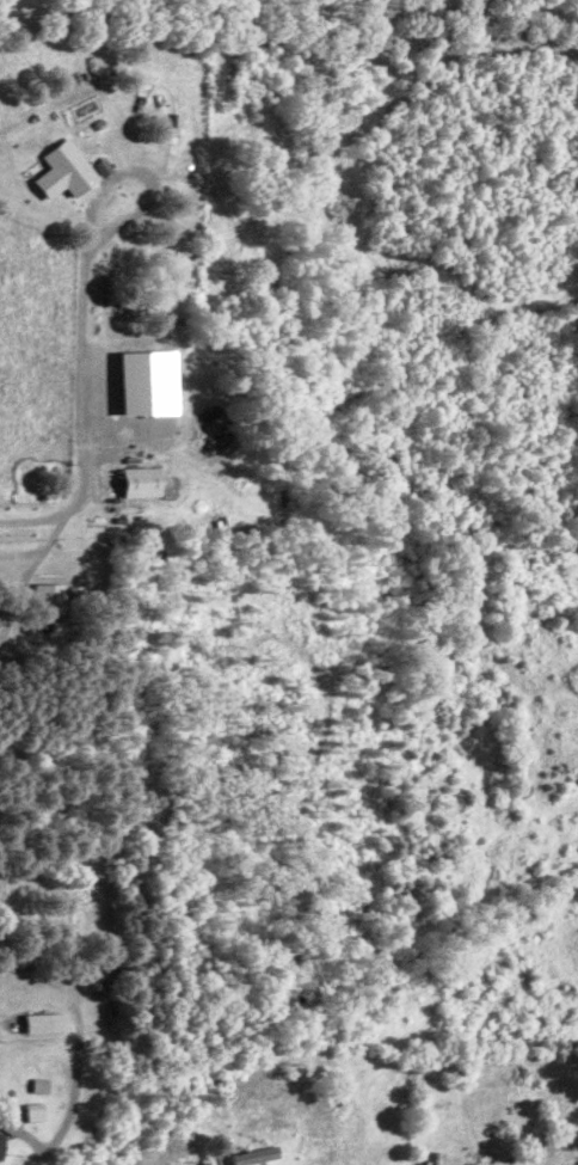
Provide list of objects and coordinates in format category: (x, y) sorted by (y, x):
road: (289, 11)
building: (73, 171)
building: (155, 382)
building: (150, 482)
building: (122, 496)
road: (49, 501)
building: (59, 596)
building: (50, 1022)
road: (73, 1103)
building: (38, 1111)
building: (16, 1126)
building: (2, 1143)
building: (262, 1154)

